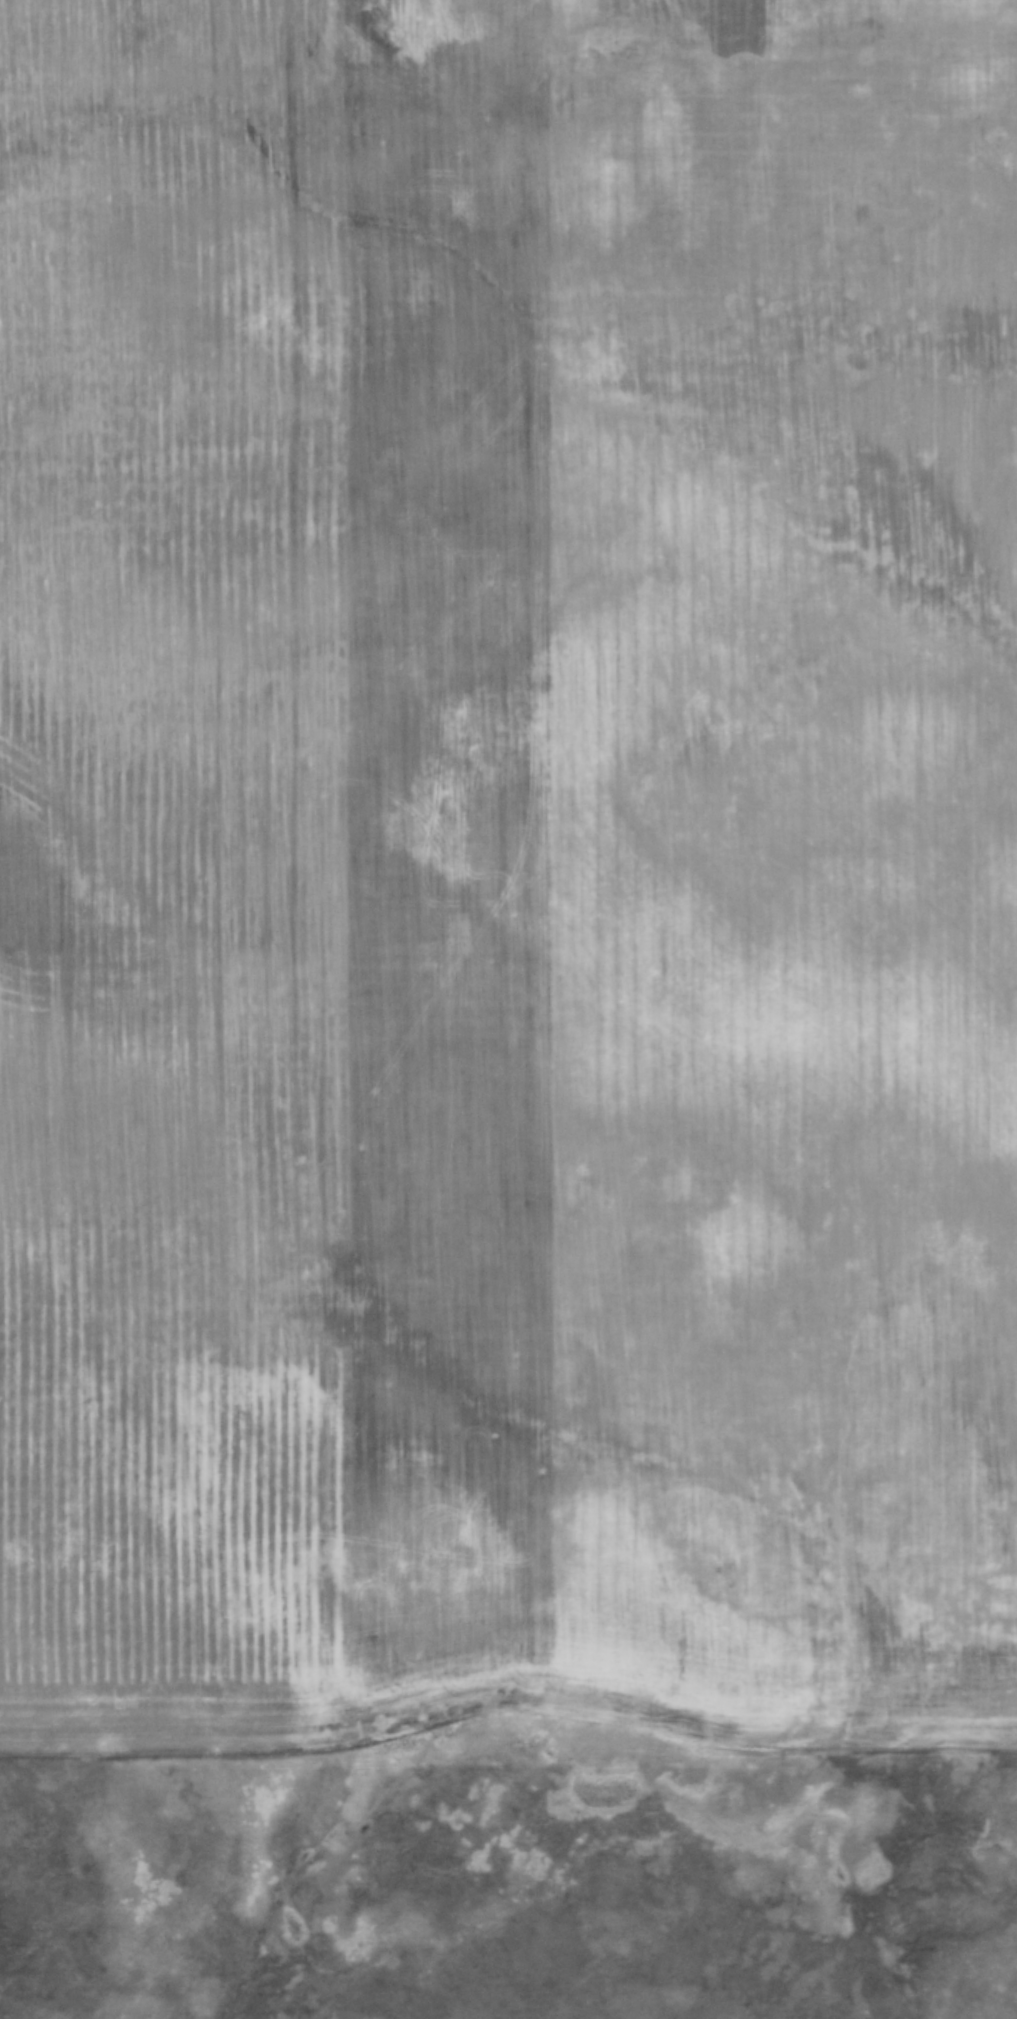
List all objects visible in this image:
road: (508, 1763)

